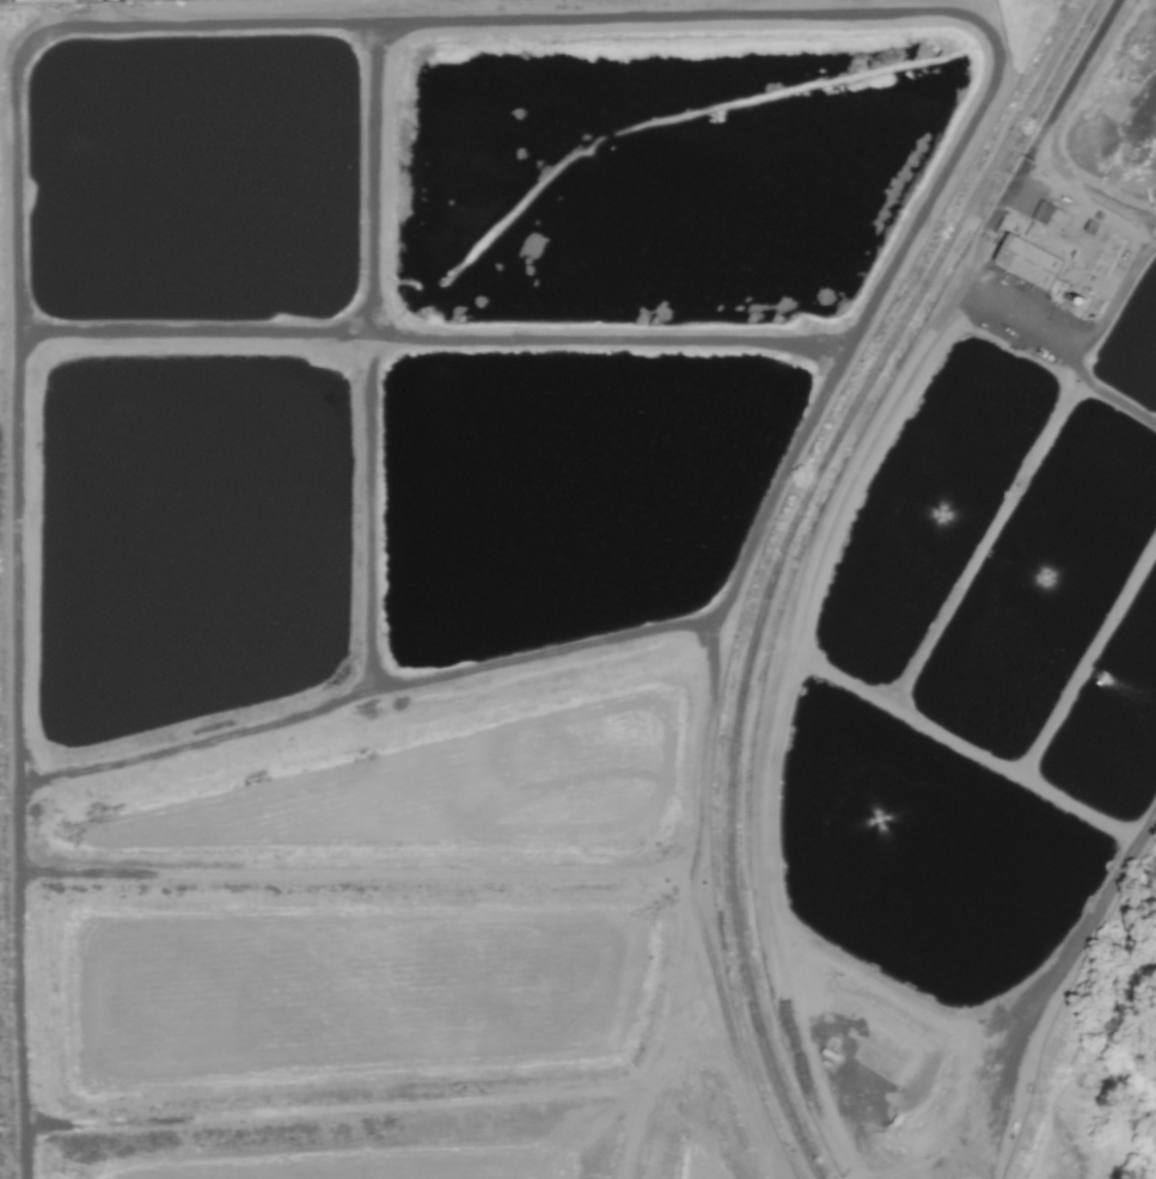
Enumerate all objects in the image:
road: (1062, 98)
building: (1044, 211)
building: (1029, 259)
railway: (788, 559)

